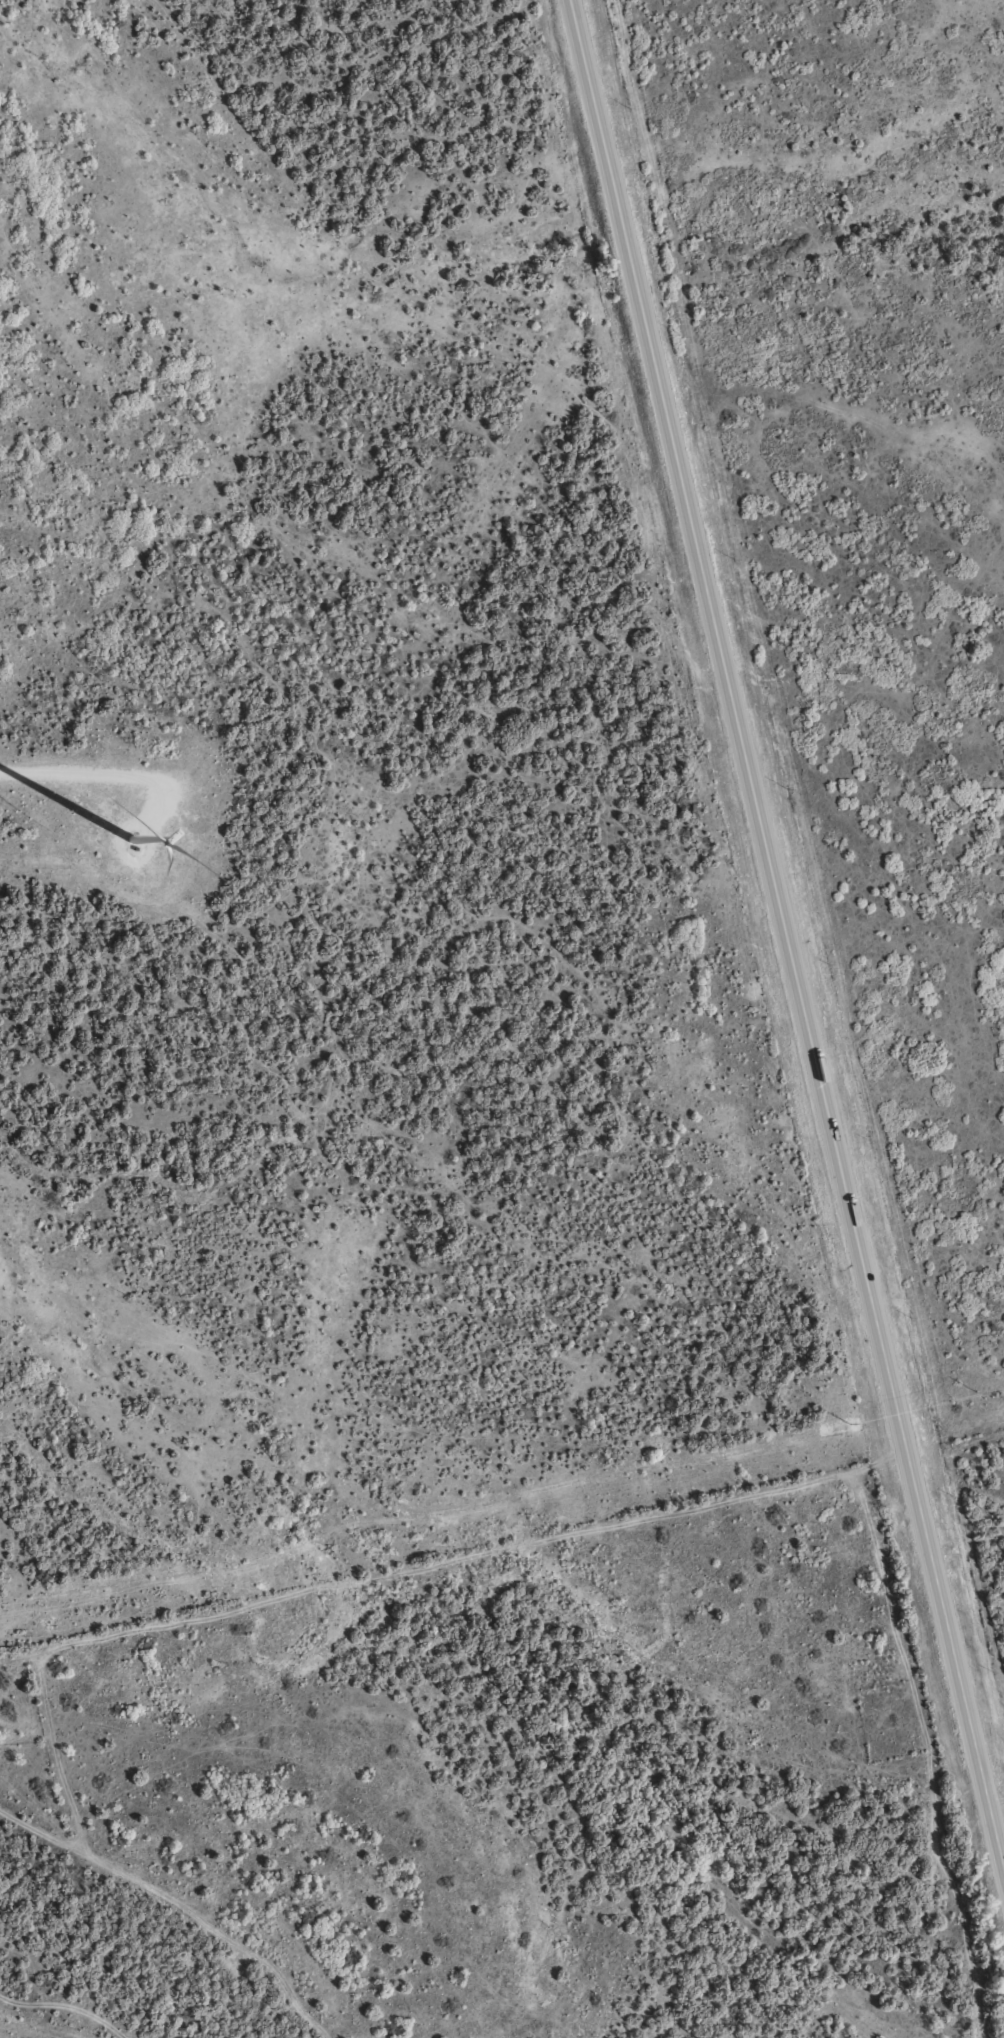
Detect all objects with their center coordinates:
wind turbine: (144, 847)
road: (786, 940)

